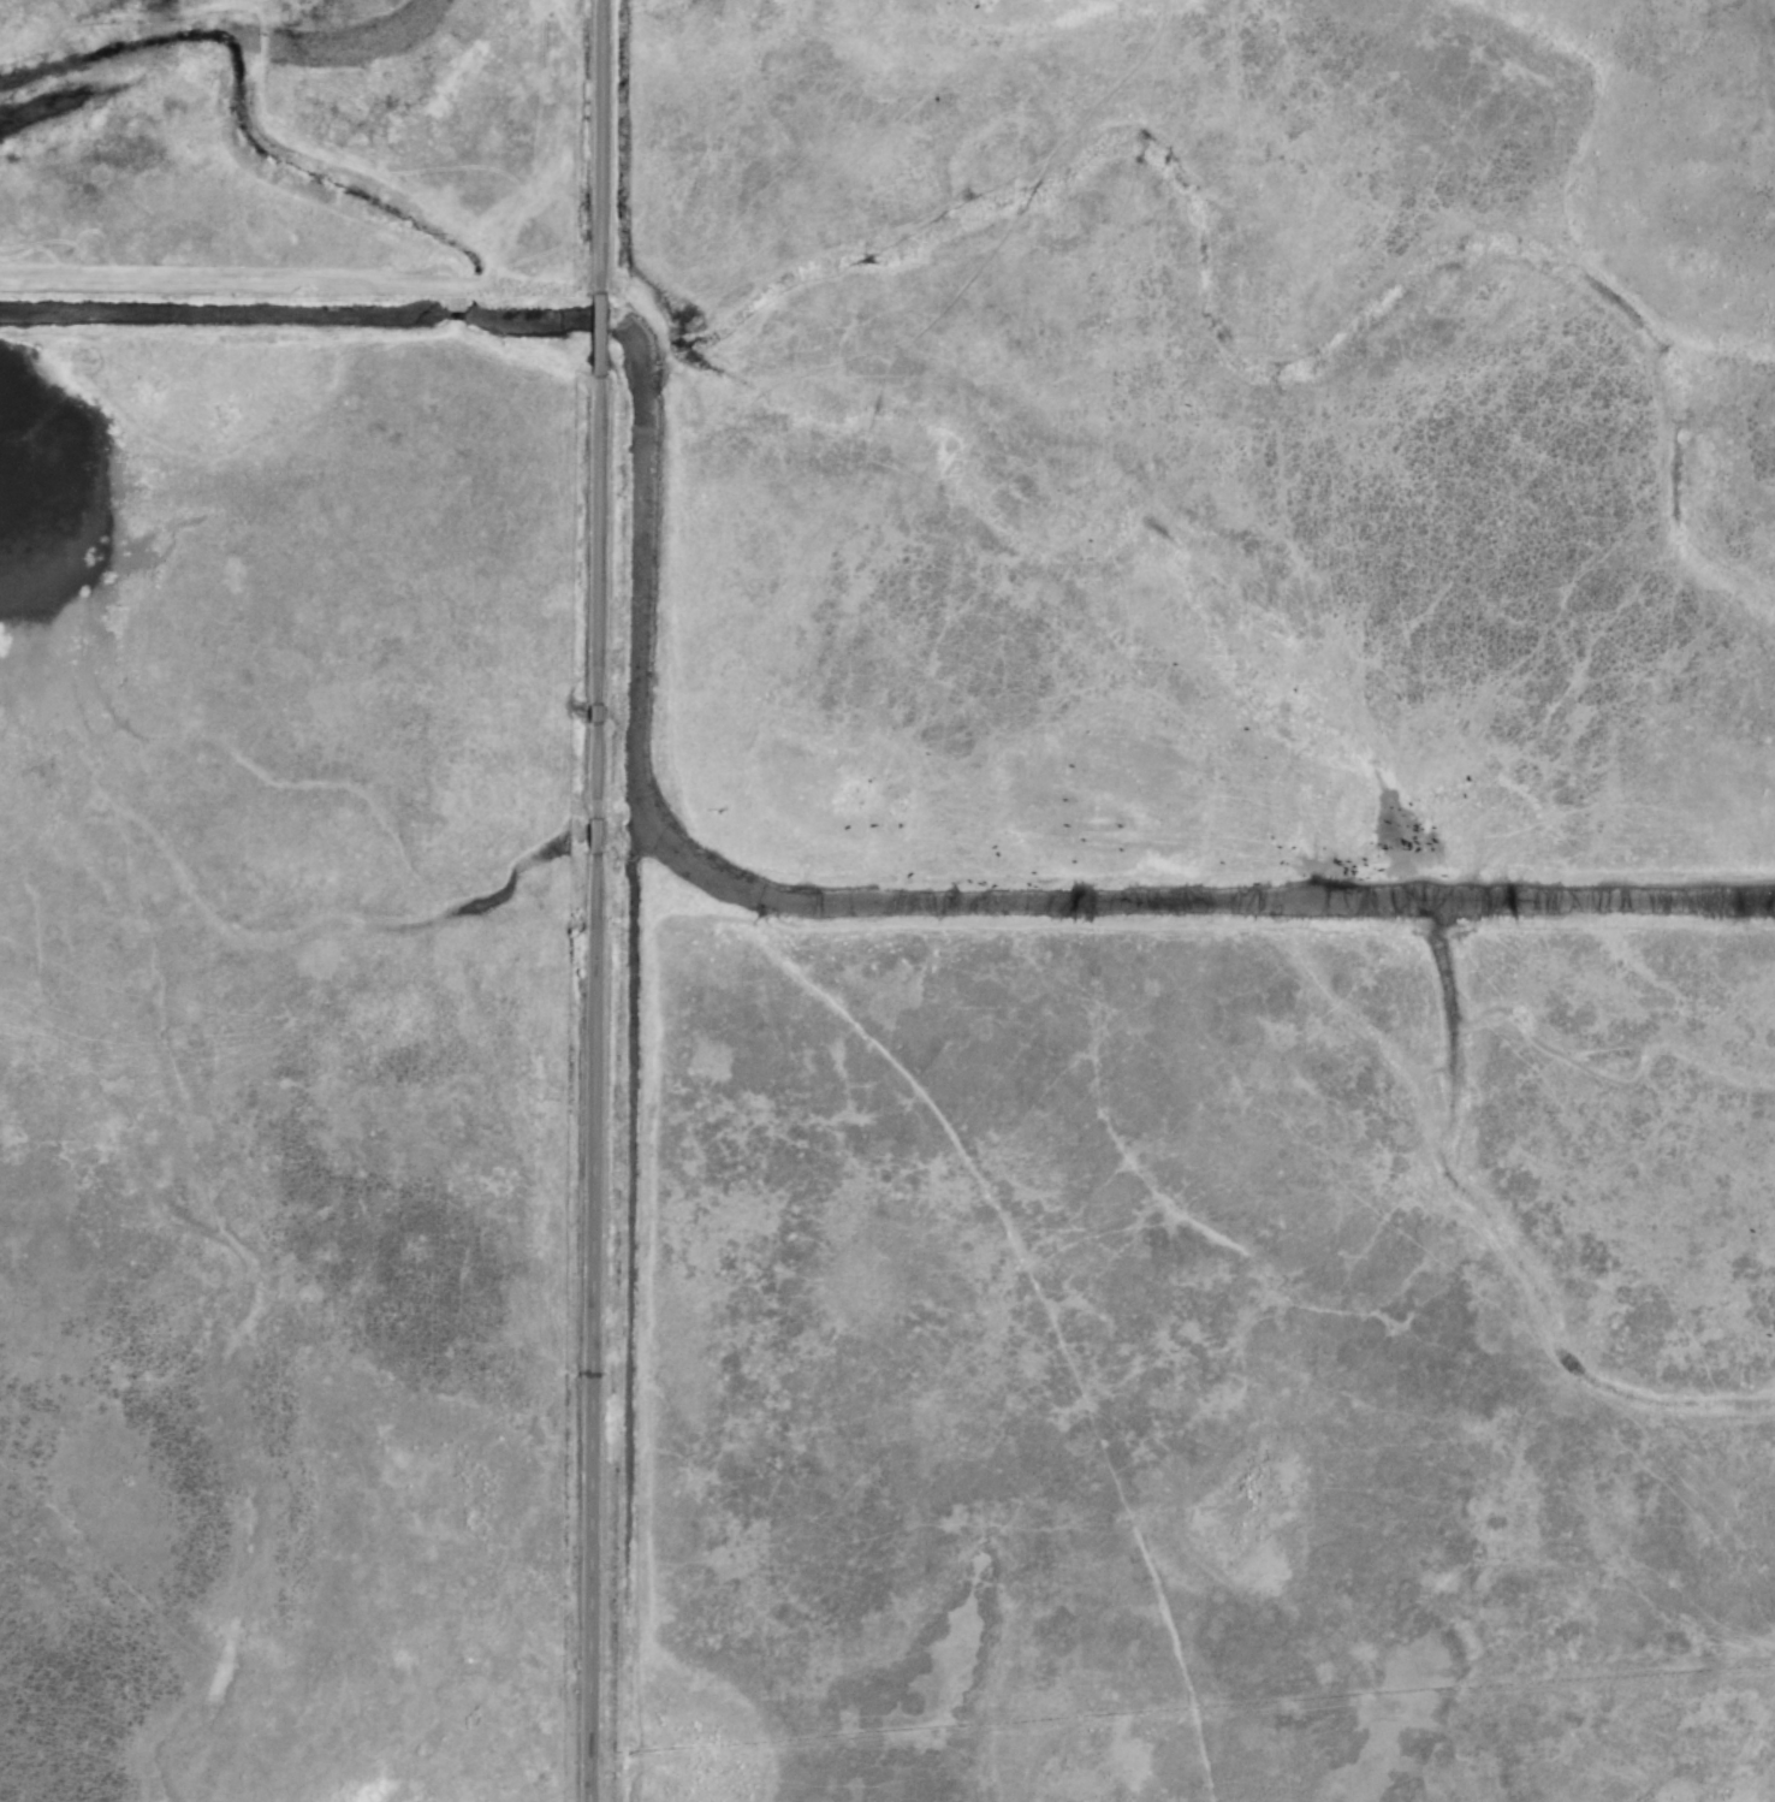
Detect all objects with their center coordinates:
road: (592, 901)
crop: (891, 903)

